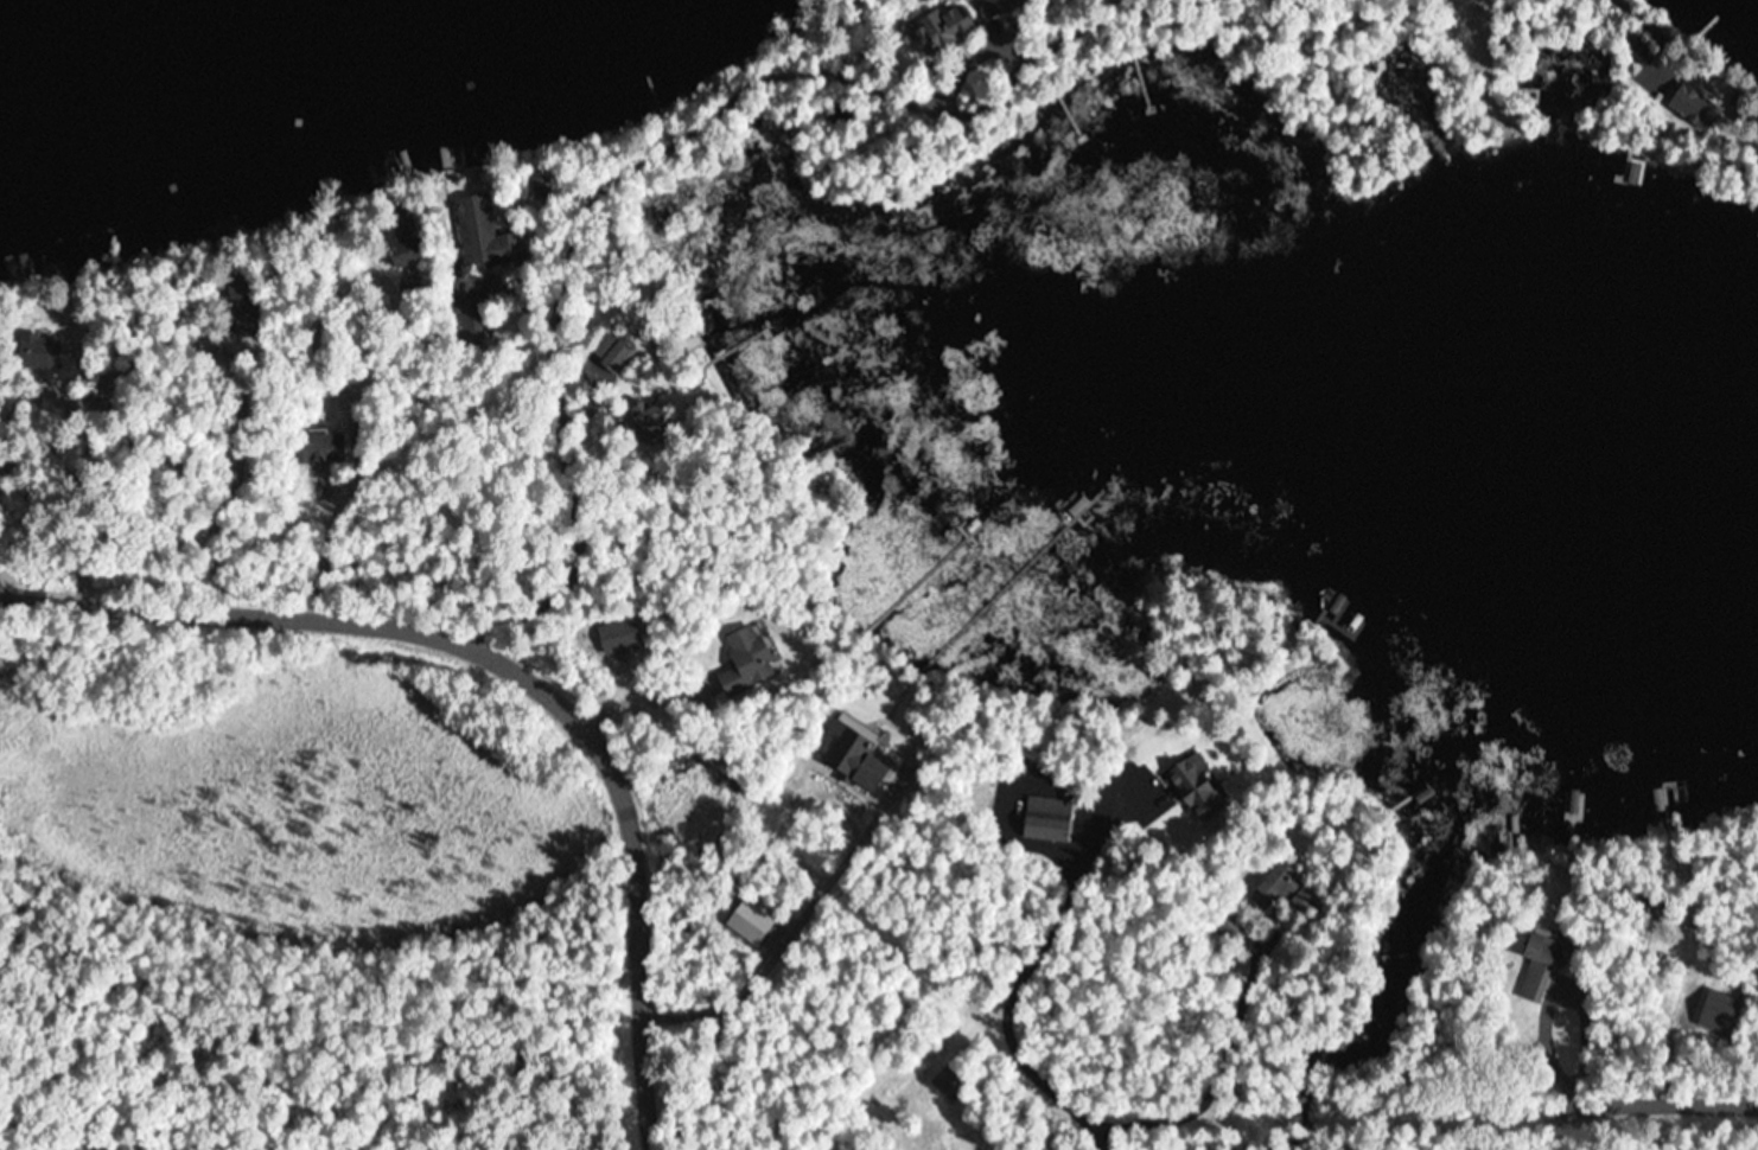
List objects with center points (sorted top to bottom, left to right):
building: (995, 7)
building: (938, 30)
building: (1638, 50)
building: (1692, 107)
building: (482, 235)
building: (401, 253)
building: (241, 304)
building: (474, 324)
building: (38, 351)
building: (607, 358)
building: (724, 362)
building: (311, 448)
road: (370, 454)
building: (745, 660)
road: (512, 667)
building: (852, 756)
building: (1193, 787)
building: (1046, 818)
building: (1289, 888)
road: (873, 906)
building: (1231, 925)
building: (1539, 964)
building: (945, 1081)
road: (1419, 1101)

